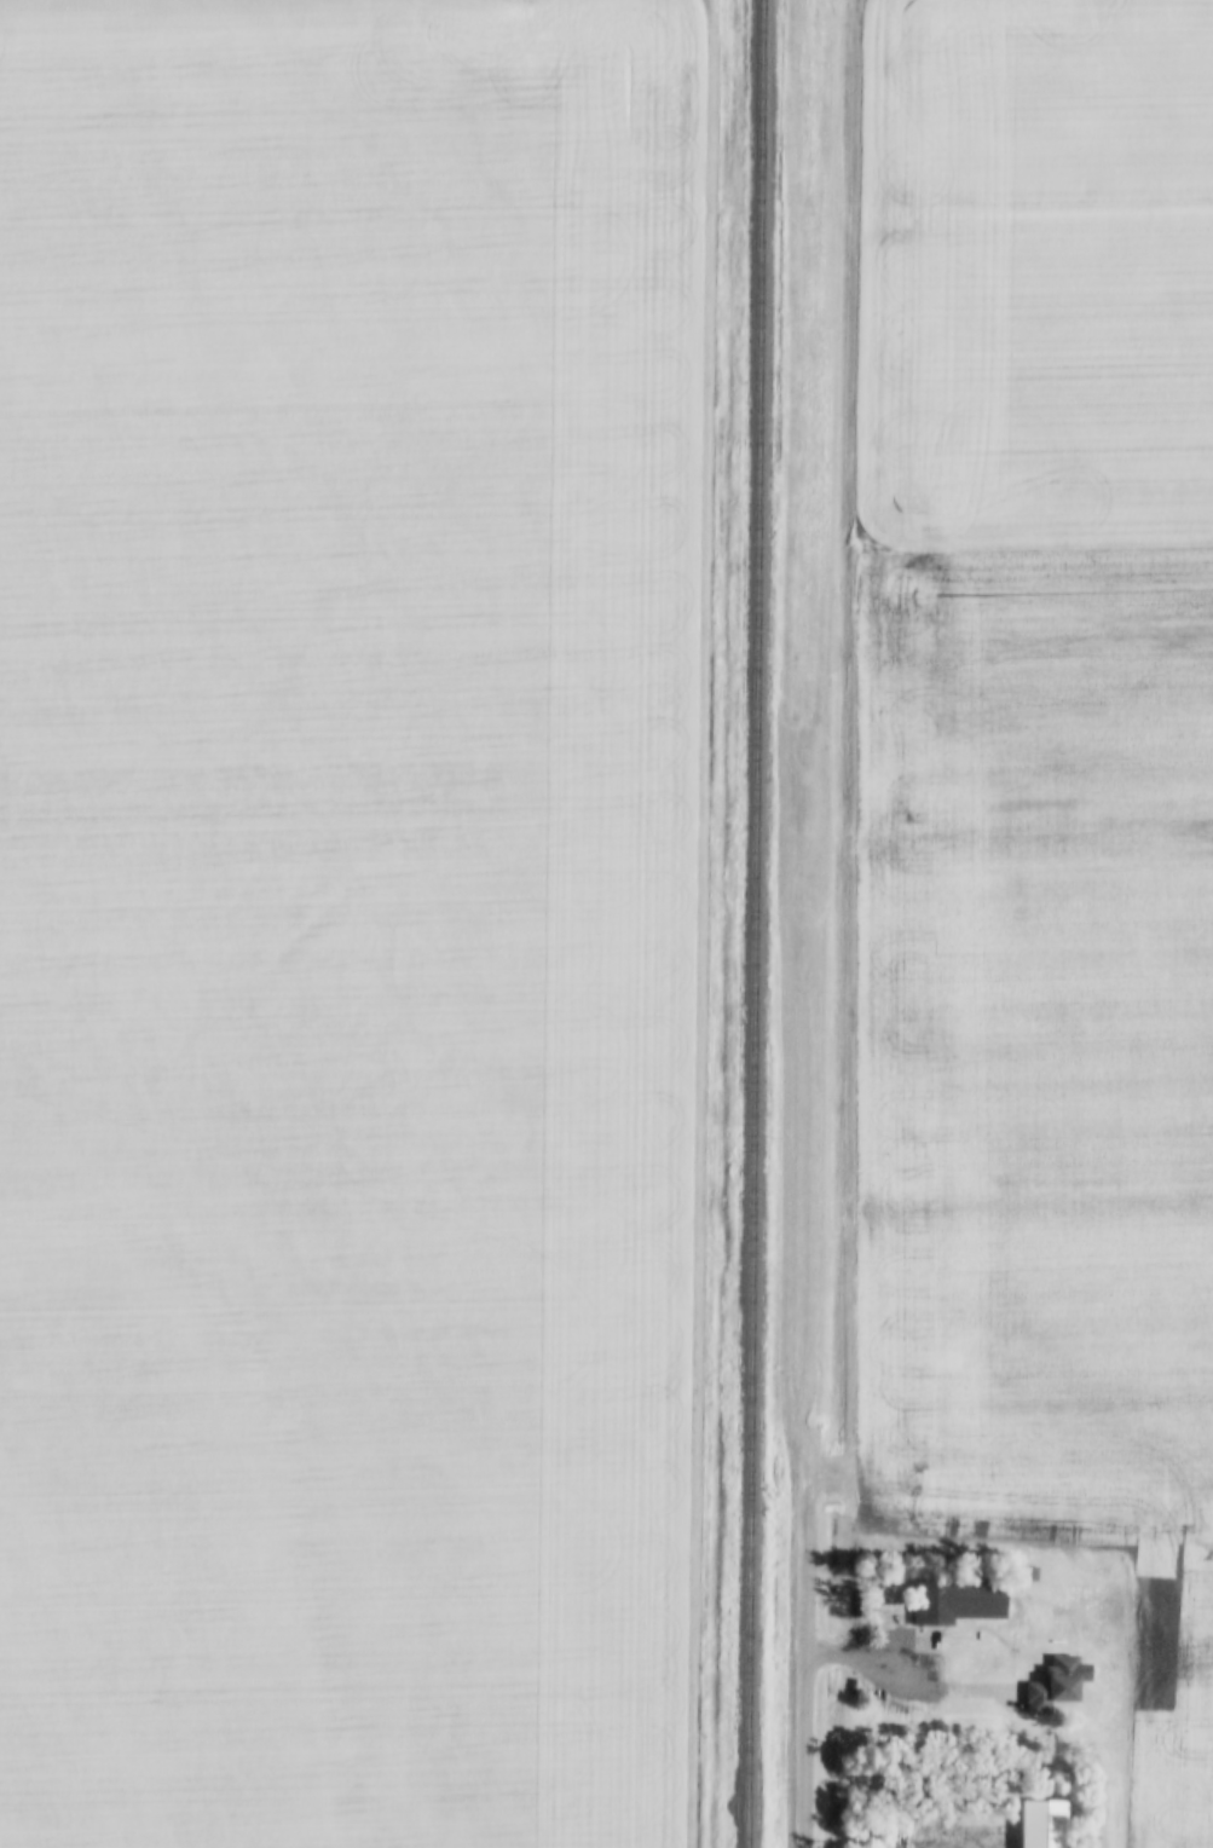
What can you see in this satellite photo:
crop: (1028, 268)
crop: (348, 919)
railway: (751, 923)
crop: (1044, 1082)
building: (958, 1601)
road: (802, 1661)
road: (863, 1663)
building: (960, 1668)

